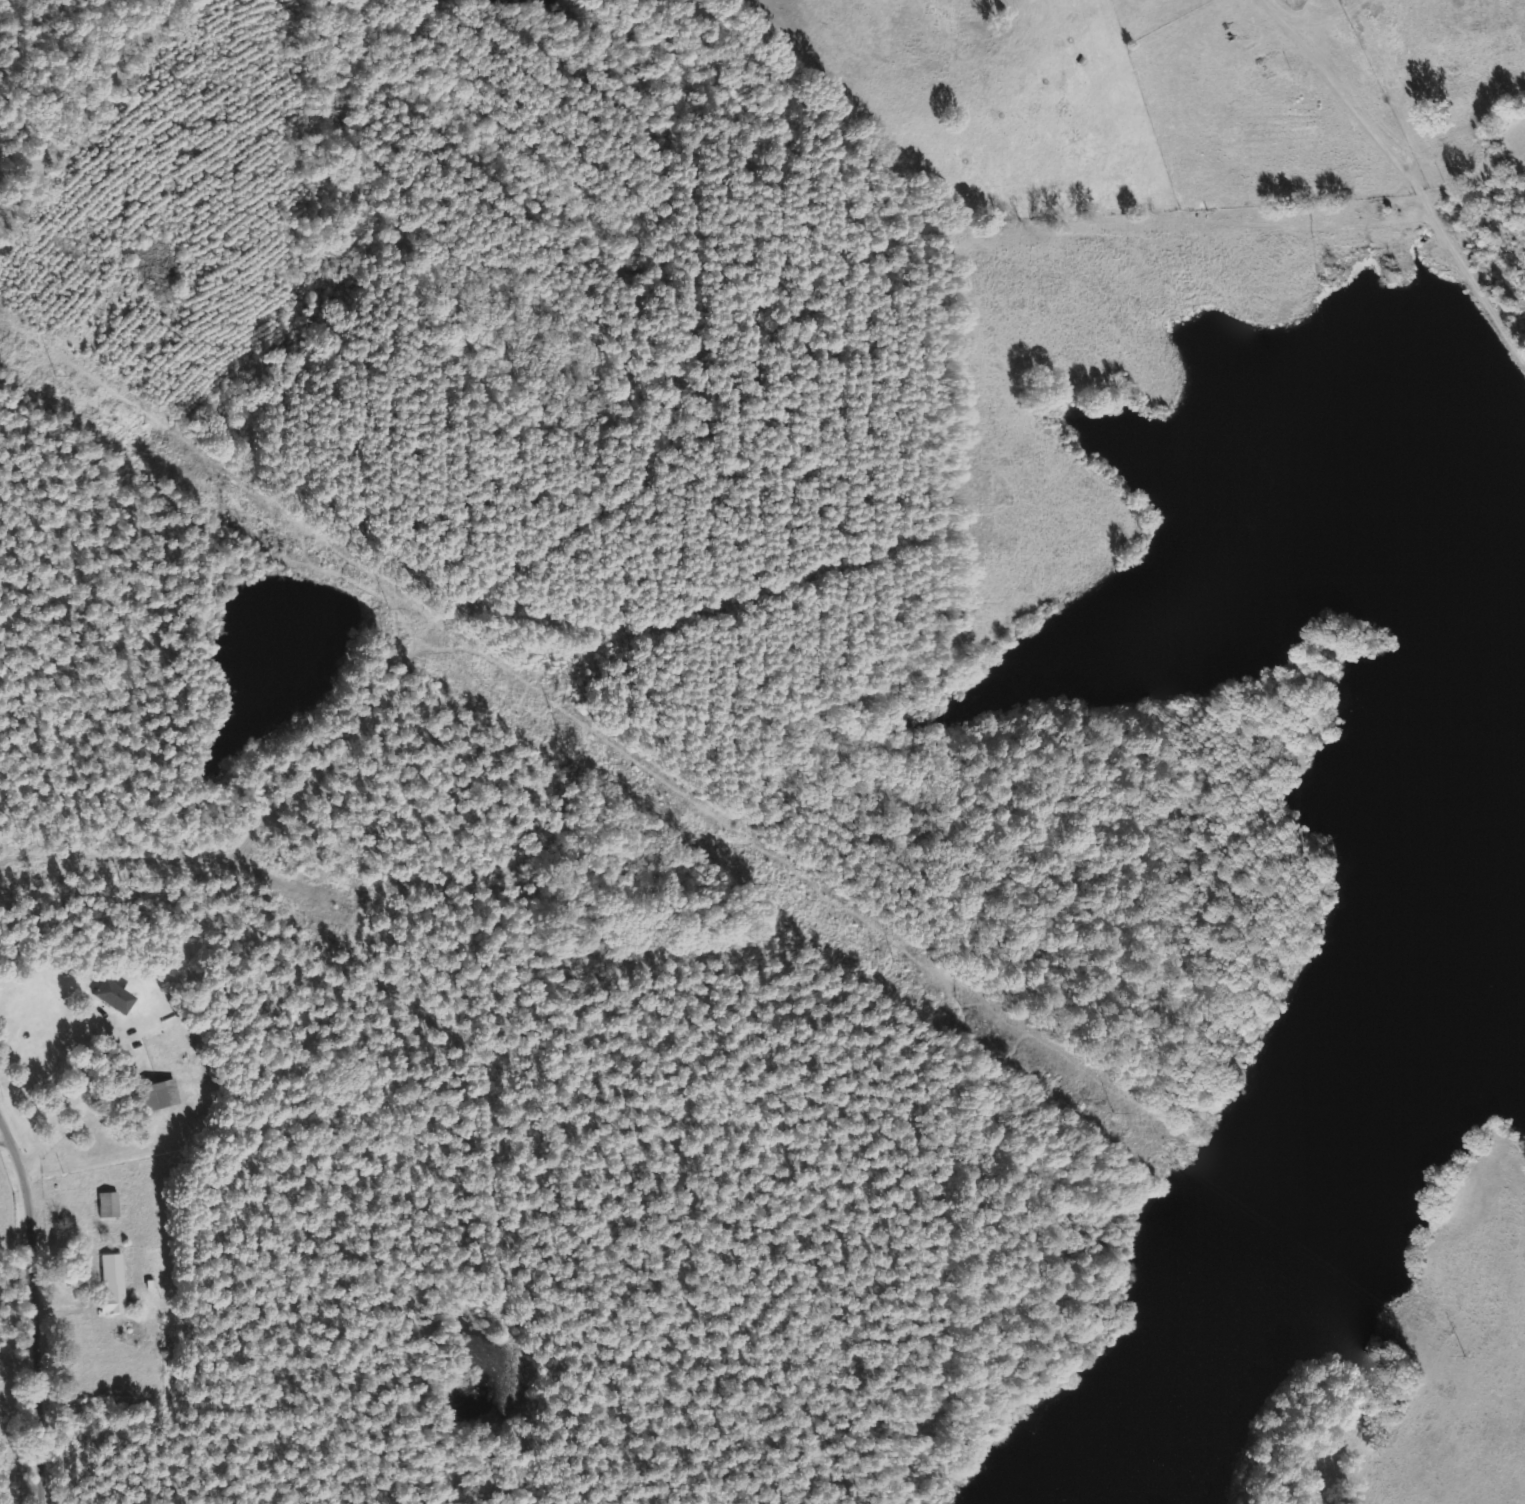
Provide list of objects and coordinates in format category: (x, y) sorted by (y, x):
building: (111, 995)
building: (156, 1094)
road: (409, 1178)
building: (105, 1204)
building: (110, 1285)
road: (42, 1301)

